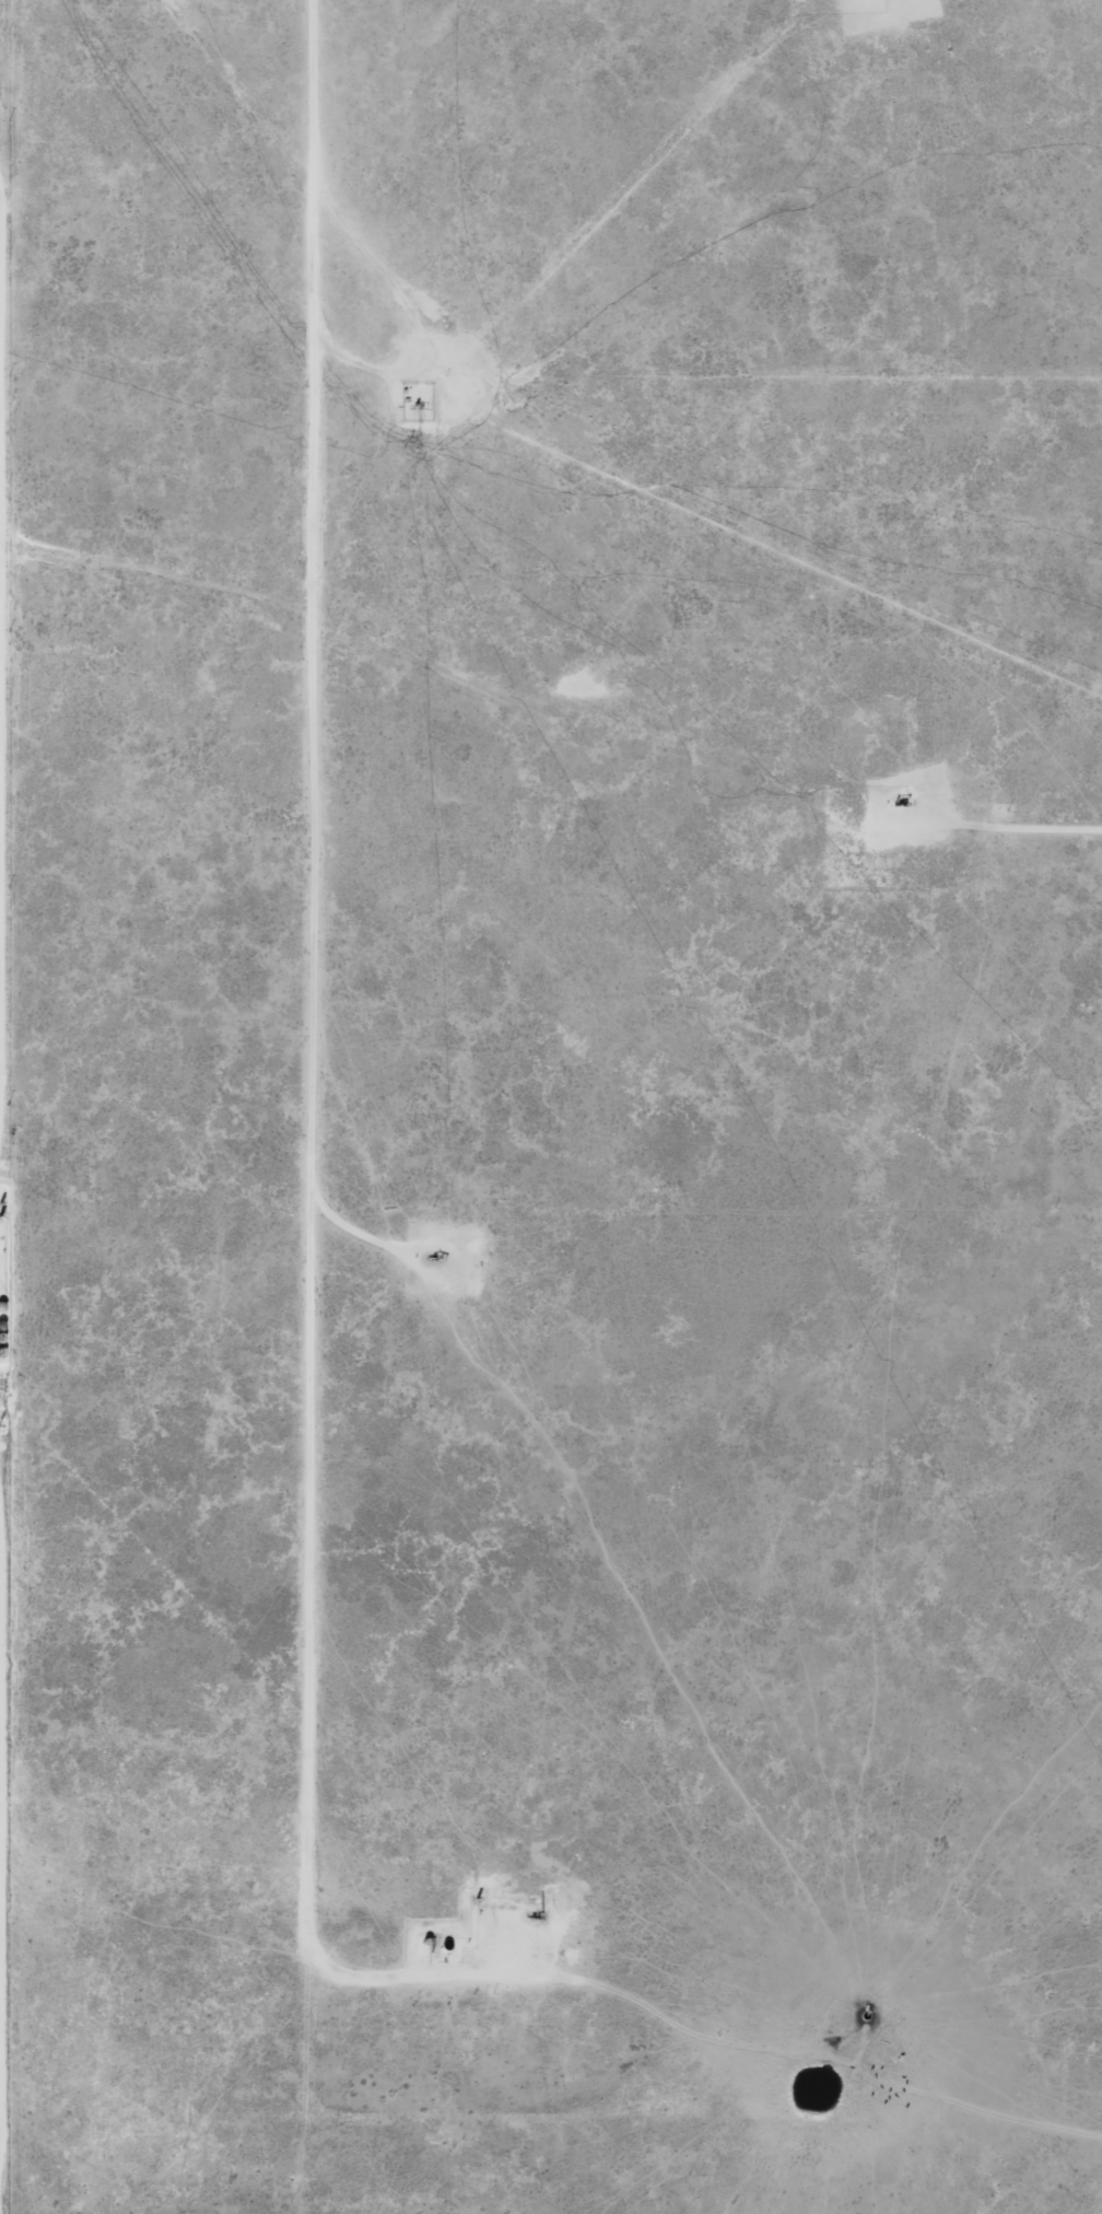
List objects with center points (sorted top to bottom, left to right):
road: (303, 1107)
road: (14, 1628)

